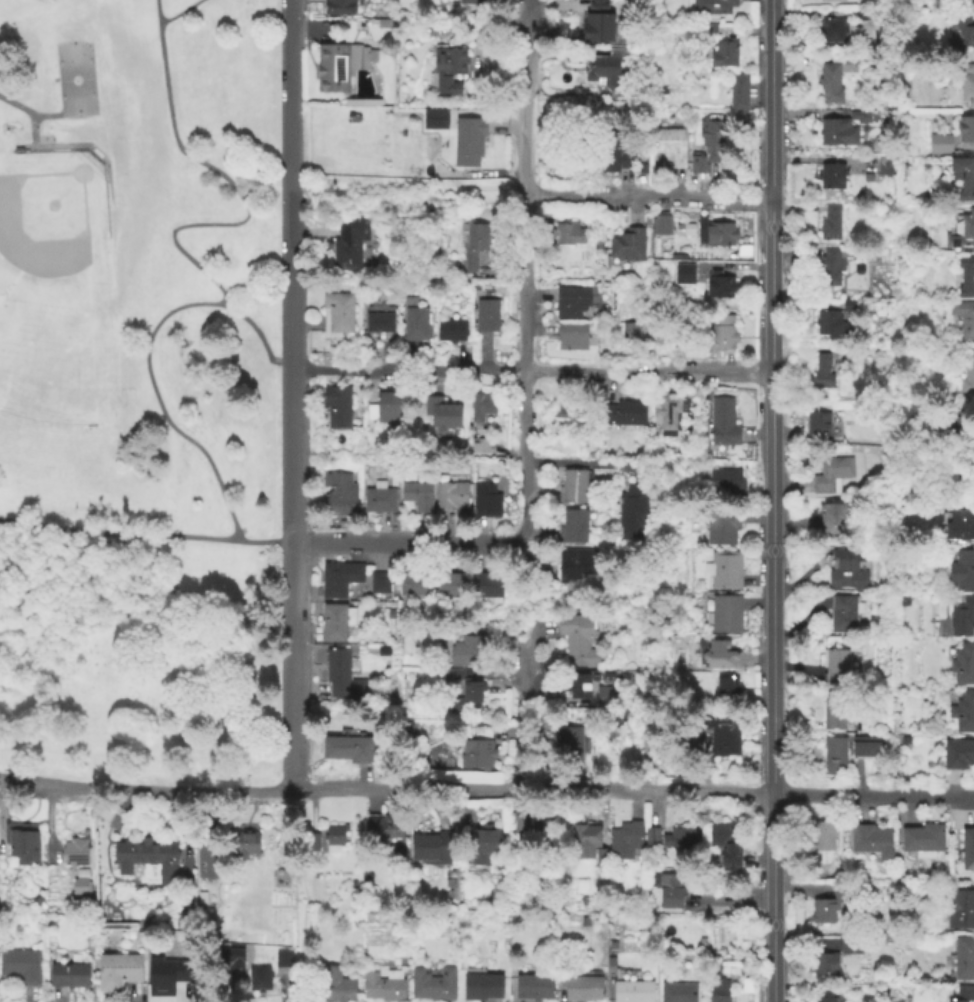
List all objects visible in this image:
building: (832, 1)
building: (961, 1)
building: (470, 2)
building: (597, 5)
building: (712, 7)
building: (338, 8)
road: (176, 12)
building: (860, 16)
building: (389, 22)
building: (597, 28)
building: (709, 29)
building: (832, 30)
building: (963, 31)
building: (723, 54)
building: (449, 61)
building: (339, 65)
building: (603, 68)
park: (78, 79)
building: (829, 82)
building: (967, 85)
building: (738, 93)
building: (362, 103)
building: (884, 103)
road: (30, 111)
building: (435, 117)
building: (352, 119)
building: (842, 127)
building: (965, 129)
road: (524, 135)
building: (468, 141)
building: (940, 144)
road: (75, 145)
building: (669, 146)
building: (710, 146)
building: (608, 152)
building: (885, 167)
building: (641, 169)
building: (830, 177)
building: (963, 177)
building: (867, 178)
road: (291, 183)
road: (406, 189)
road: (648, 197)
building: (831, 223)
building: (661, 226)
building: (963, 231)
building: (568, 233)
building: (711, 234)
building: (347, 242)
building: (478, 243)
building: (626, 245)
road: (198, 265)
building: (828, 271)
building: (684, 275)
building: (966, 278)
building: (718, 286)
park: (44, 301)
building: (571, 301)
building: (850, 306)
building: (336, 314)
building: (486, 316)
park: (14, 319)
building: (378, 319)
building: (964, 319)
building: (414, 324)
building: (831, 326)
building: (449, 328)
building: (720, 334)
road: (259, 336)
building: (634, 336)
building: (570, 337)
road: (408, 368)
road: (648, 371)
building: (966, 371)
building: (820, 373)
park: (138, 392)
road: (525, 404)
building: (337, 406)
building: (481, 406)
building: (384, 408)
building: (570, 408)
building: (442, 412)
building: (625, 414)
building: (666, 416)
building: (723, 425)
building: (817, 427)
building: (956, 427)
building: (479, 444)
road: (292, 454)
building: (590, 456)
road: (584, 465)
building: (831, 476)
building: (965, 479)
building: (725, 484)
building: (573, 488)
building: (339, 496)
building: (417, 496)
building: (451, 496)
building: (379, 498)
road: (772, 500)
building: (485, 501)
building: (634, 509)
building: (836, 521)
building: (720, 526)
building: (572, 527)
building: (959, 528)
road: (406, 542)
road: (145, 548)
building: (573, 566)
building: (724, 571)
building: (847, 572)
building: (962, 572)
building: (338, 579)
building: (378, 583)
building: (414, 584)
building: (484, 586)
building: (448, 589)
building: (363, 590)
building: (904, 603)
building: (724, 615)
building: (842, 616)
building: (961, 619)
road: (292, 622)
building: (335, 623)
building: (578, 641)
building: (469, 653)
building: (721, 656)
building: (963, 665)
building: (835, 667)
building: (337, 675)
building: (578, 687)
building: (727, 692)
building: (603, 693)
building: (466, 694)
road: (528, 706)
building: (833, 712)
building: (963, 713)
building: (617, 719)
building: (721, 732)
building: (647, 741)
building: (865, 745)
road: (292, 746)
building: (568, 747)
building: (349, 750)
building: (477, 751)
building: (839, 753)
building: (957, 754)
building: (664, 755)
road: (856, 779)
road: (42, 788)
road: (409, 789)
road: (650, 789)
road: (146, 791)
road: (249, 793)
road: (873, 796)
building: (534, 824)
building: (383, 828)
building: (336, 836)
building: (821, 836)
building: (650, 838)
building: (679, 839)
building: (871, 840)
building: (923, 840)
building: (624, 841)
building: (312, 842)
building: (583, 842)
building: (724, 843)
building: (241, 844)
building: (21, 845)
building: (482, 845)
building: (430, 848)
building: (967, 850)
building: (74, 853)
building: (600, 856)
building: (155, 857)
building: (206, 857)
building: (267, 871)
building: (517, 875)
building: (502, 879)
building: (79, 883)
building: (668, 889)
road: (301, 895)
road: (737, 900)
building: (37, 901)
building: (582, 901)
building: (828, 905)
building: (960, 910)
building: (584, 922)
building: (701, 942)
building: (850, 943)
building: (612, 947)
building: (233, 956)
building: (282, 959)
building: (964, 959)
building: (824, 964)
building: (21, 967)
building: (118, 971)
building: (165, 974)
building: (67, 976)
building: (259, 980)
building: (436, 983)
building: (484, 984)
building: (386, 985)
building: (585, 985)
building: (333, 986)
building: (537, 986)
building: (631, 987)
building: (718, 989)
building: (677, 993)
building: (965, 994)
building: (821, 998)

